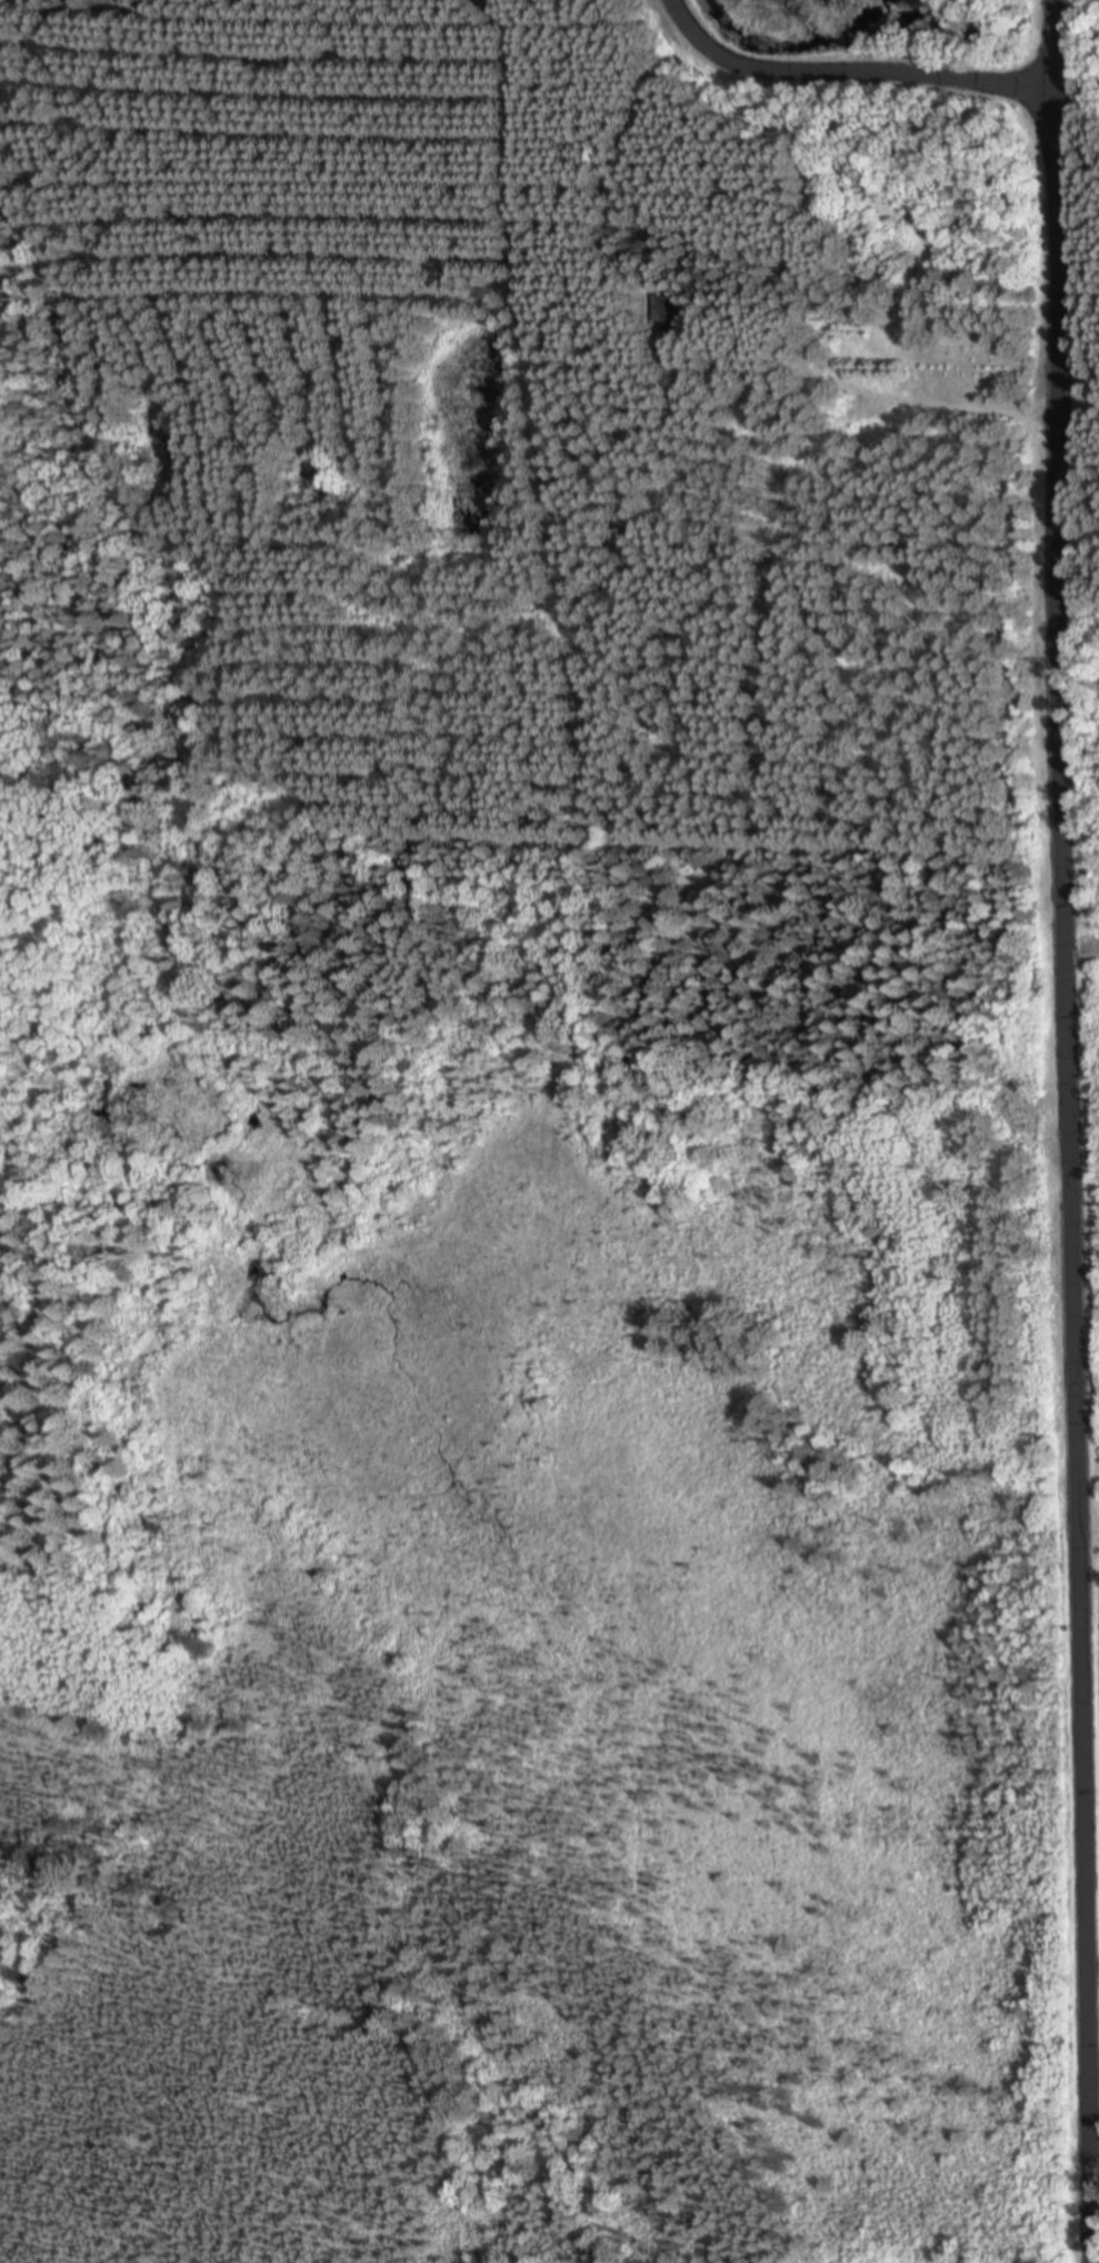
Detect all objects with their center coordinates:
road: (850, 70)
road: (1066, 1131)

